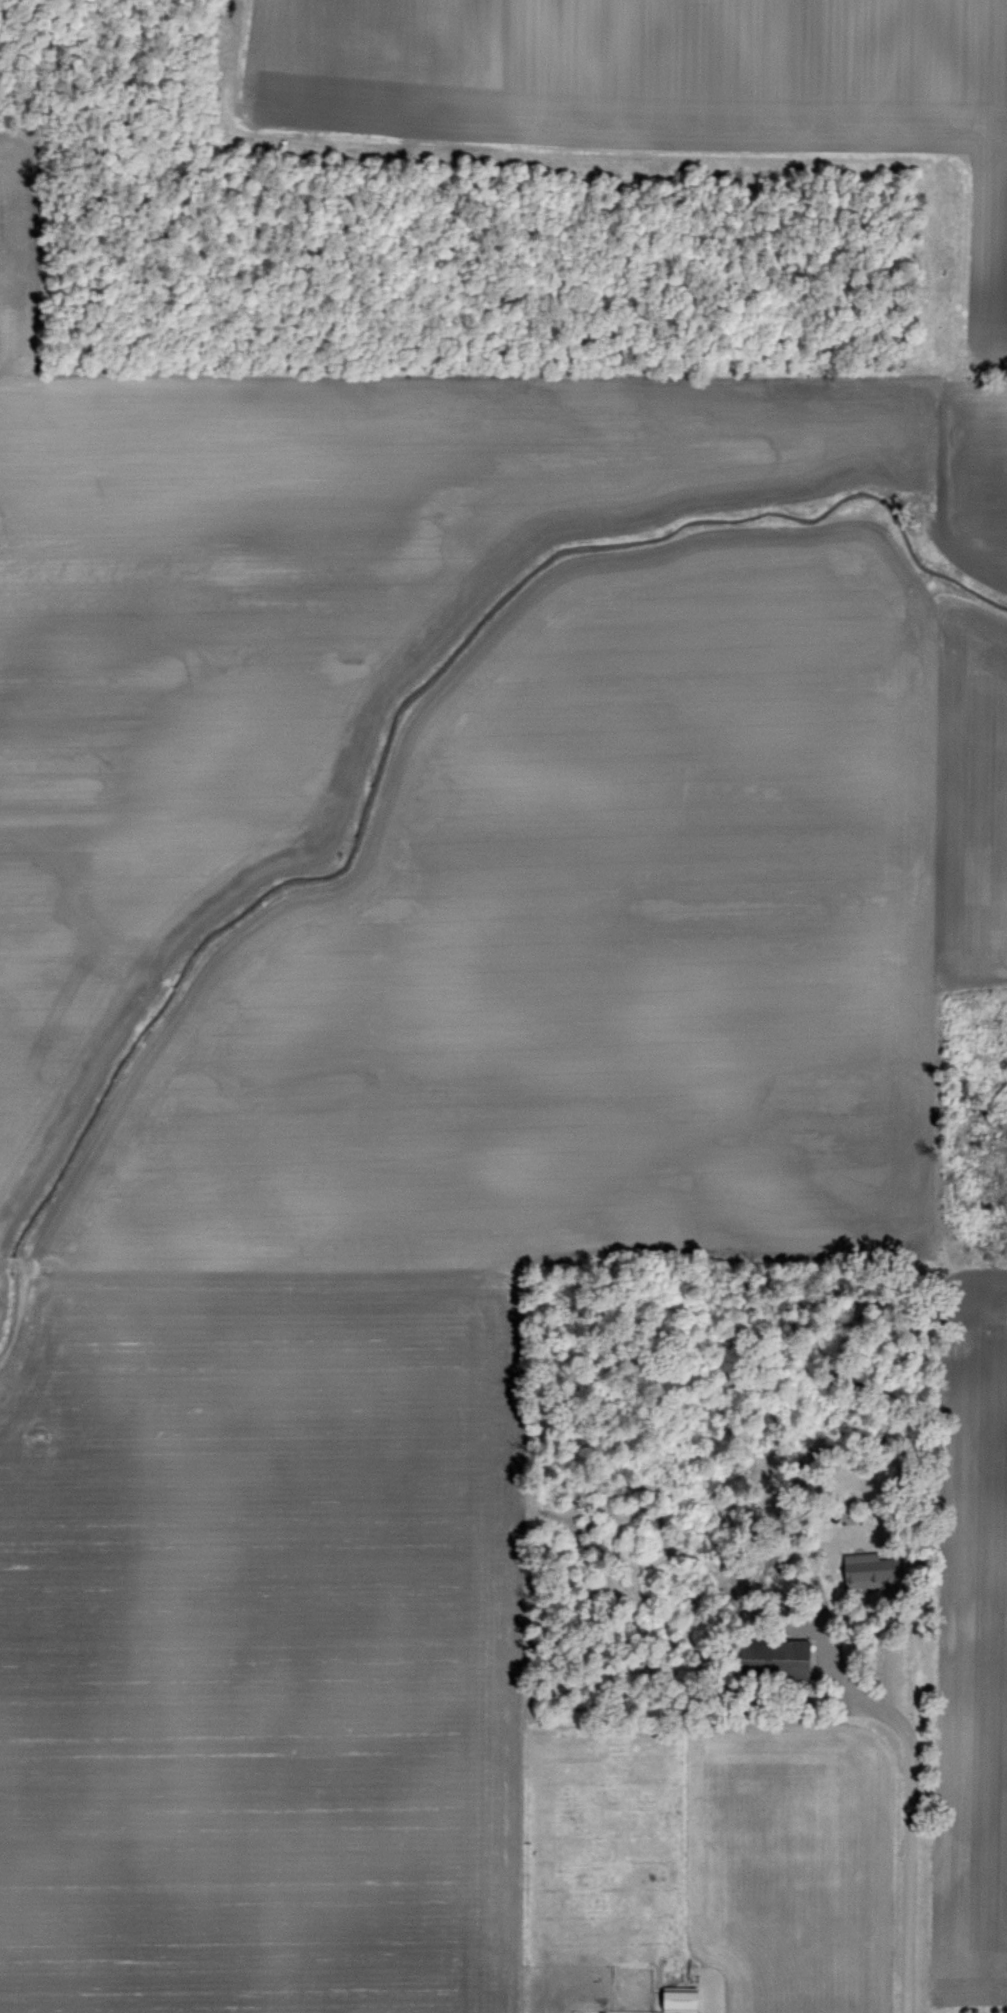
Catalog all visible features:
building: (855, 1569)
building: (769, 1658)
road: (908, 1778)
building: (674, 1999)

